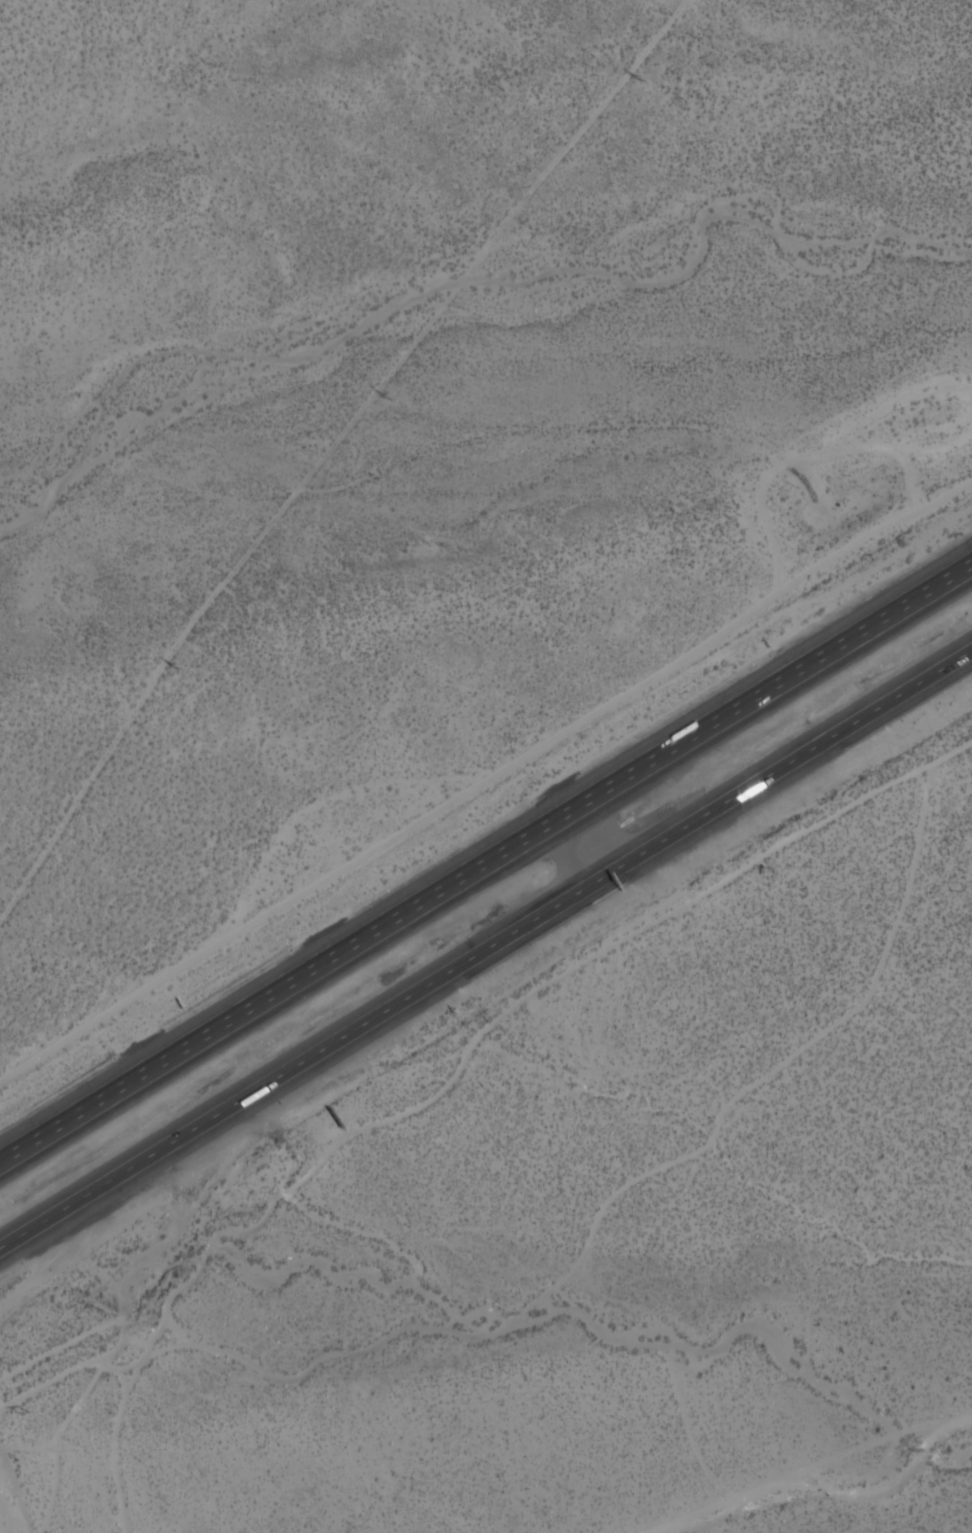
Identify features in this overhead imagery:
power tower: (634, 78)
power tower: (383, 396)
power tower: (172, 669)
road: (658, 754)
road: (566, 855)
road: (486, 948)
road: (172, 1053)
power tower: (22, 1415)
road: (831, 1495)

